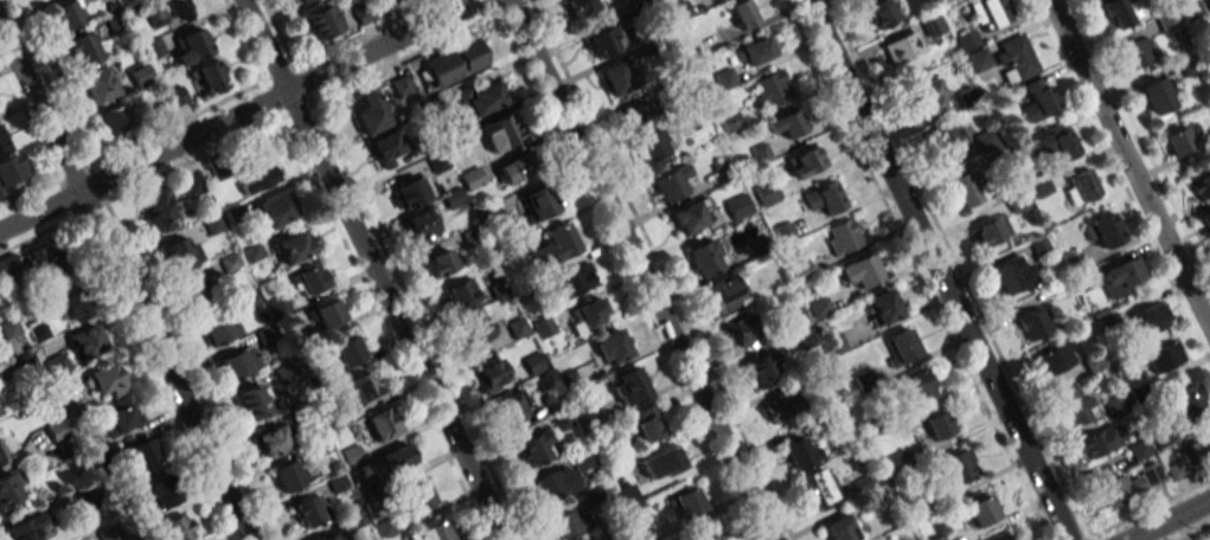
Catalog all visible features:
building: (299, 0)
building: (383, 0)
building: (1209, 0)
building: (582, 7)
building: (1190, 9)
building: (167, 11)
building: (991, 12)
building: (1116, 12)
building: (742, 13)
building: (882, 13)
building: (69, 14)
building: (324, 20)
building: (1167, 20)
building: (115, 21)
building: (931, 25)
building: (603, 40)
building: (192, 45)
building: (901, 47)
building: (82, 50)
building: (754, 51)
building: (1138, 51)
building: (1014, 58)
building: (454, 62)
building: (210, 76)
building: (141, 77)
building: (615, 78)
building: (98, 84)
building: (770, 88)
building: (926, 97)
building: (480, 98)
building: (1039, 98)
building: (1154, 99)
building: (370, 114)
road: (237, 115)
building: (635, 117)
building: (114, 120)
building: (730, 121)
building: (786, 123)
building: (500, 131)
building: (947, 136)
building: (1177, 141)
building: (2, 144)
building: (1052, 144)
road: (1139, 144)
building: (386, 147)
building: (653, 148)
building: (804, 161)
building: (436, 162)
road: (1131, 162)
building: (514, 169)
building: (9, 173)
building: (258, 178)
building: (470, 178)
road: (1121, 180)
building: (670, 182)
building: (1084, 185)
building: (191, 186)
building: (1199, 186)
building: (966, 188)
building: (412, 191)
building: (825, 197)
building: (537, 205)
building: (159, 210)
building: (274, 210)
building: (687, 217)
building: (1205, 223)
building: (422, 225)
building: (991, 230)
building: (1103, 230)
building: (841, 236)
building: (555, 245)
building: (293, 246)
building: (181, 253)
building: (705, 256)
building: (34, 262)
building: (438, 262)
road: (371, 270)
road: (640, 270)
road: (936, 270)
road: (958, 270)
building: (859, 271)
building: (1012, 274)
building: (1121, 277)
building: (308, 281)
building: (570, 282)
road: (123, 283)
building: (200, 290)
building: (724, 292)
building: (460, 296)
building: (66, 304)
building: (882, 307)
building: (327, 313)
building: (588, 313)
building: (1150, 317)
building: (1031, 323)
building: (8, 328)
building: (219, 328)
building: (743, 328)
building: (476, 329)
building: (87, 340)
building: (612, 346)
building: (901, 346)
building: (346, 352)
building: (1164, 356)
building: (1055, 358)
building: (533, 362)
building: (233, 365)
building: (762, 369)
building: (491, 375)
building: (107, 380)
building: (627, 386)
building: (914, 386)
building: (359, 391)
building: (1186, 397)
building: (249, 403)
building: (1075, 405)
building: (1114, 405)
building: (512, 406)
building: (780, 411)
building: (120, 414)
building: (382, 423)
building: (647, 424)
building: (937, 425)
building: (55, 430)
building: (274, 439)
building: (1101, 441)
building: (534, 448)
building: (1199, 449)
building: (141, 452)
building: (800, 454)
building: (351, 455)
building: (1, 456)
building: (396, 457)
building: (660, 463)
building: (960, 465)
building: (1178, 469)
building: (289, 475)
building: (553, 483)
building: (1129, 483)
building: (818, 486)
building: (12, 487)
building: (160, 490)
building: (417, 497)
building: (687, 502)
road: (1147, 508)
building: (310, 510)
building: (980, 510)
road: (1167, 519)
building: (566, 525)
building: (26, 527)
building: (175, 528)
building: (384, 528)
building: (839, 528)
building: (654, 531)
road: (1191, 531)
building: (430, 532)
building: (331, 535)
building: (708, 535)
building: (998, 535)
building: (598, 539)
road: (1209, 539)

